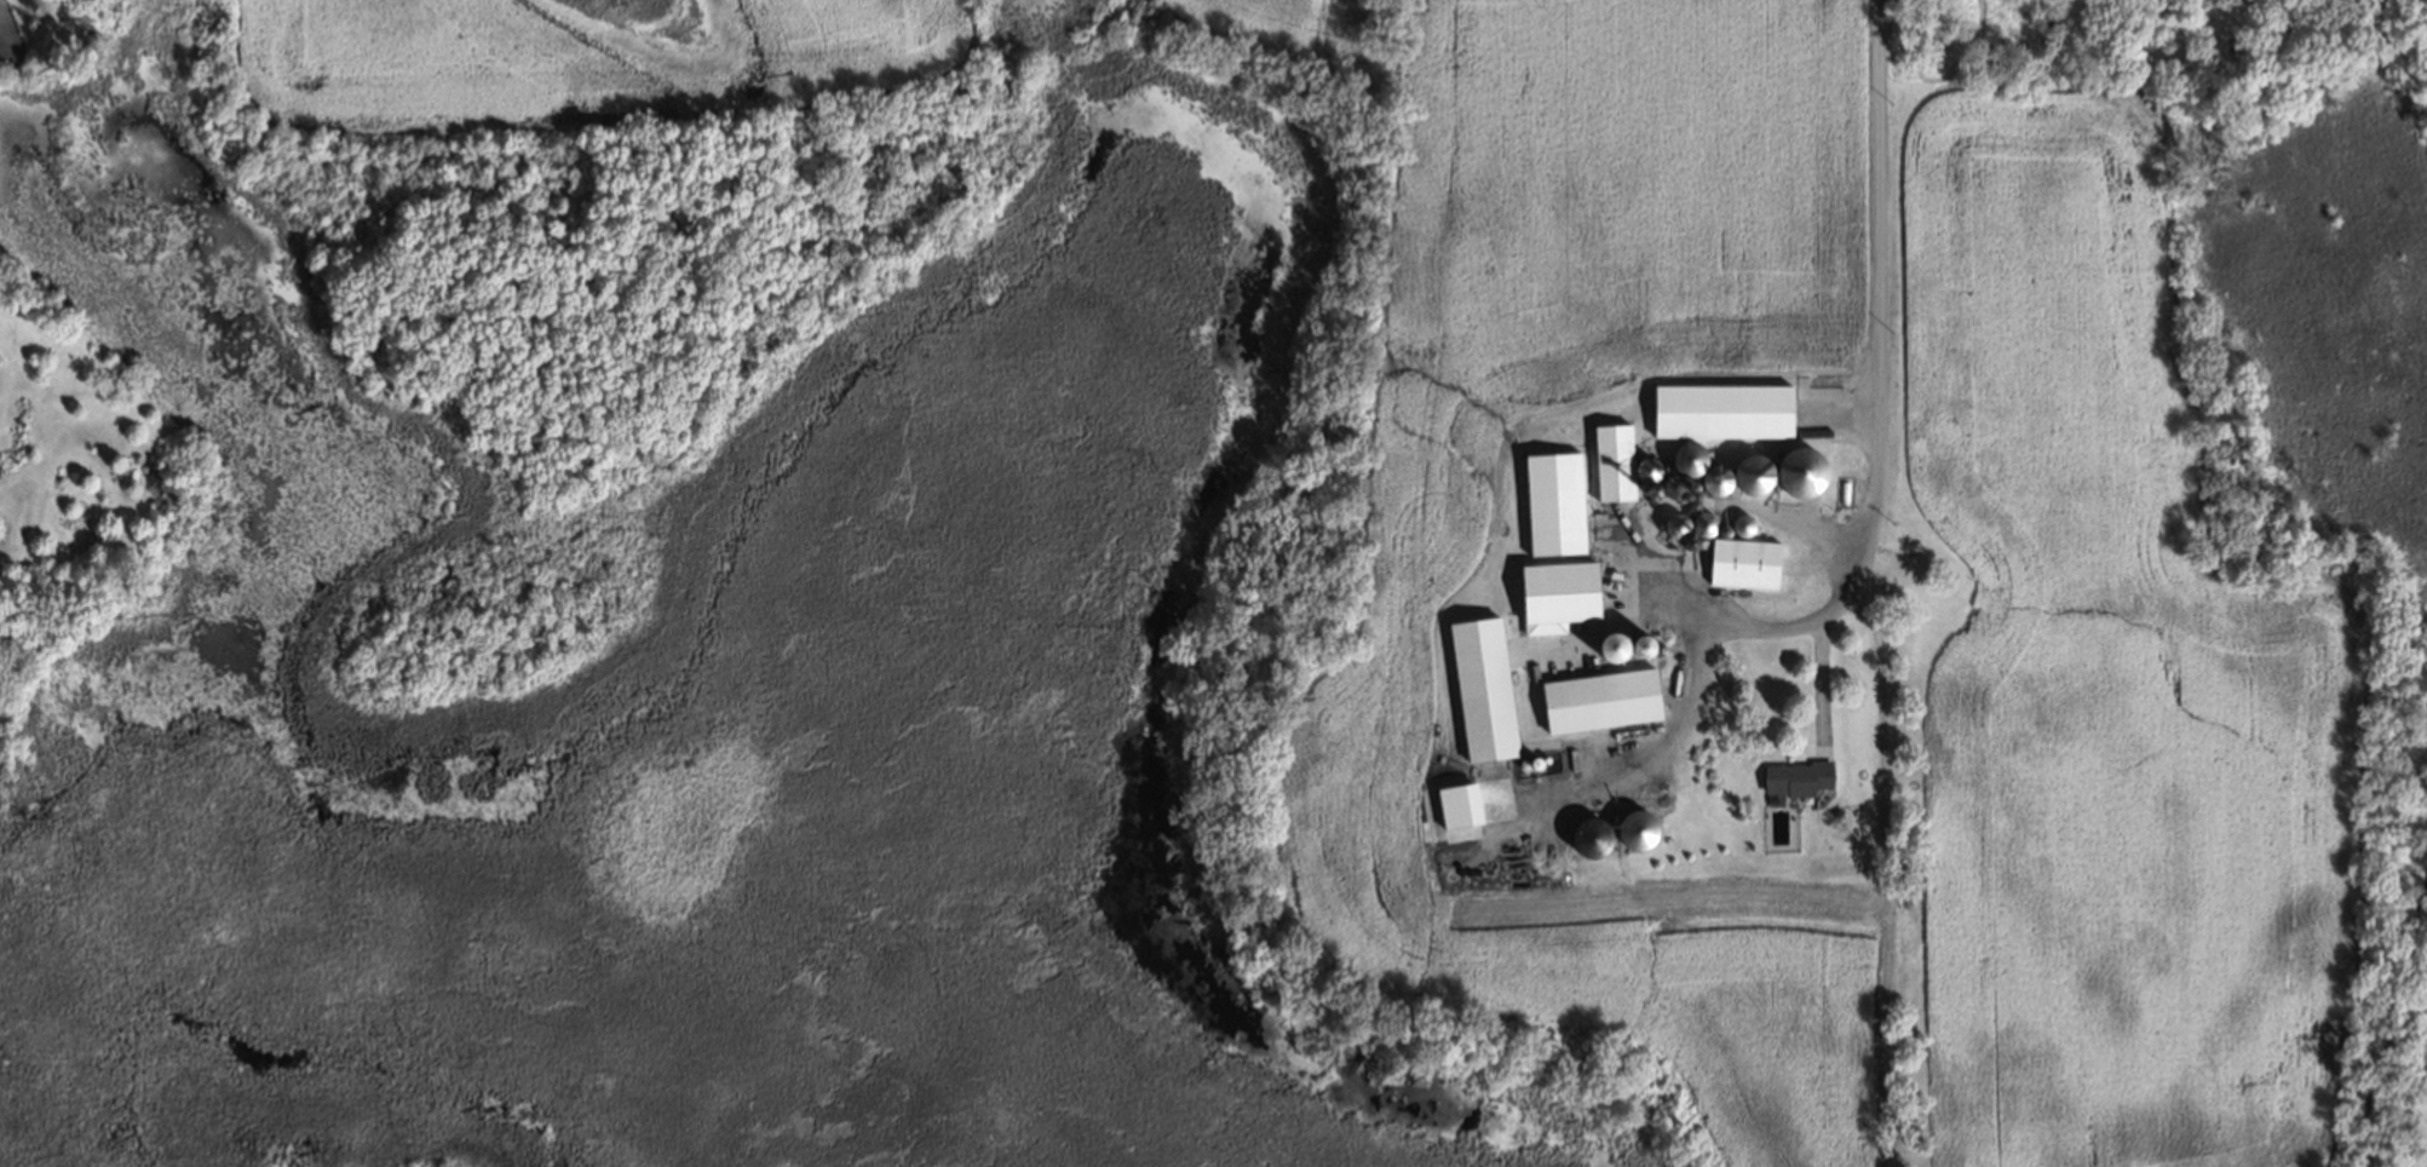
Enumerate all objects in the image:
building: (2357, 5)
road: (1871, 373)
building: (1719, 409)
building: (1610, 460)
building: (1686, 461)
building: (1644, 472)
building: (1800, 476)
building: (1752, 478)
building: (1714, 483)
building: (1670, 489)
building: (1551, 502)
building: (1701, 524)
building: (1674, 527)
building: (1739, 527)
building: (1689, 546)
building: (1741, 562)
building: (1555, 592)
building: (1611, 645)
building: (1641, 645)
road: (1822, 680)
building: (1478, 692)
building: (1597, 699)
building: (1793, 780)
building: (1635, 827)
building: (1589, 833)

